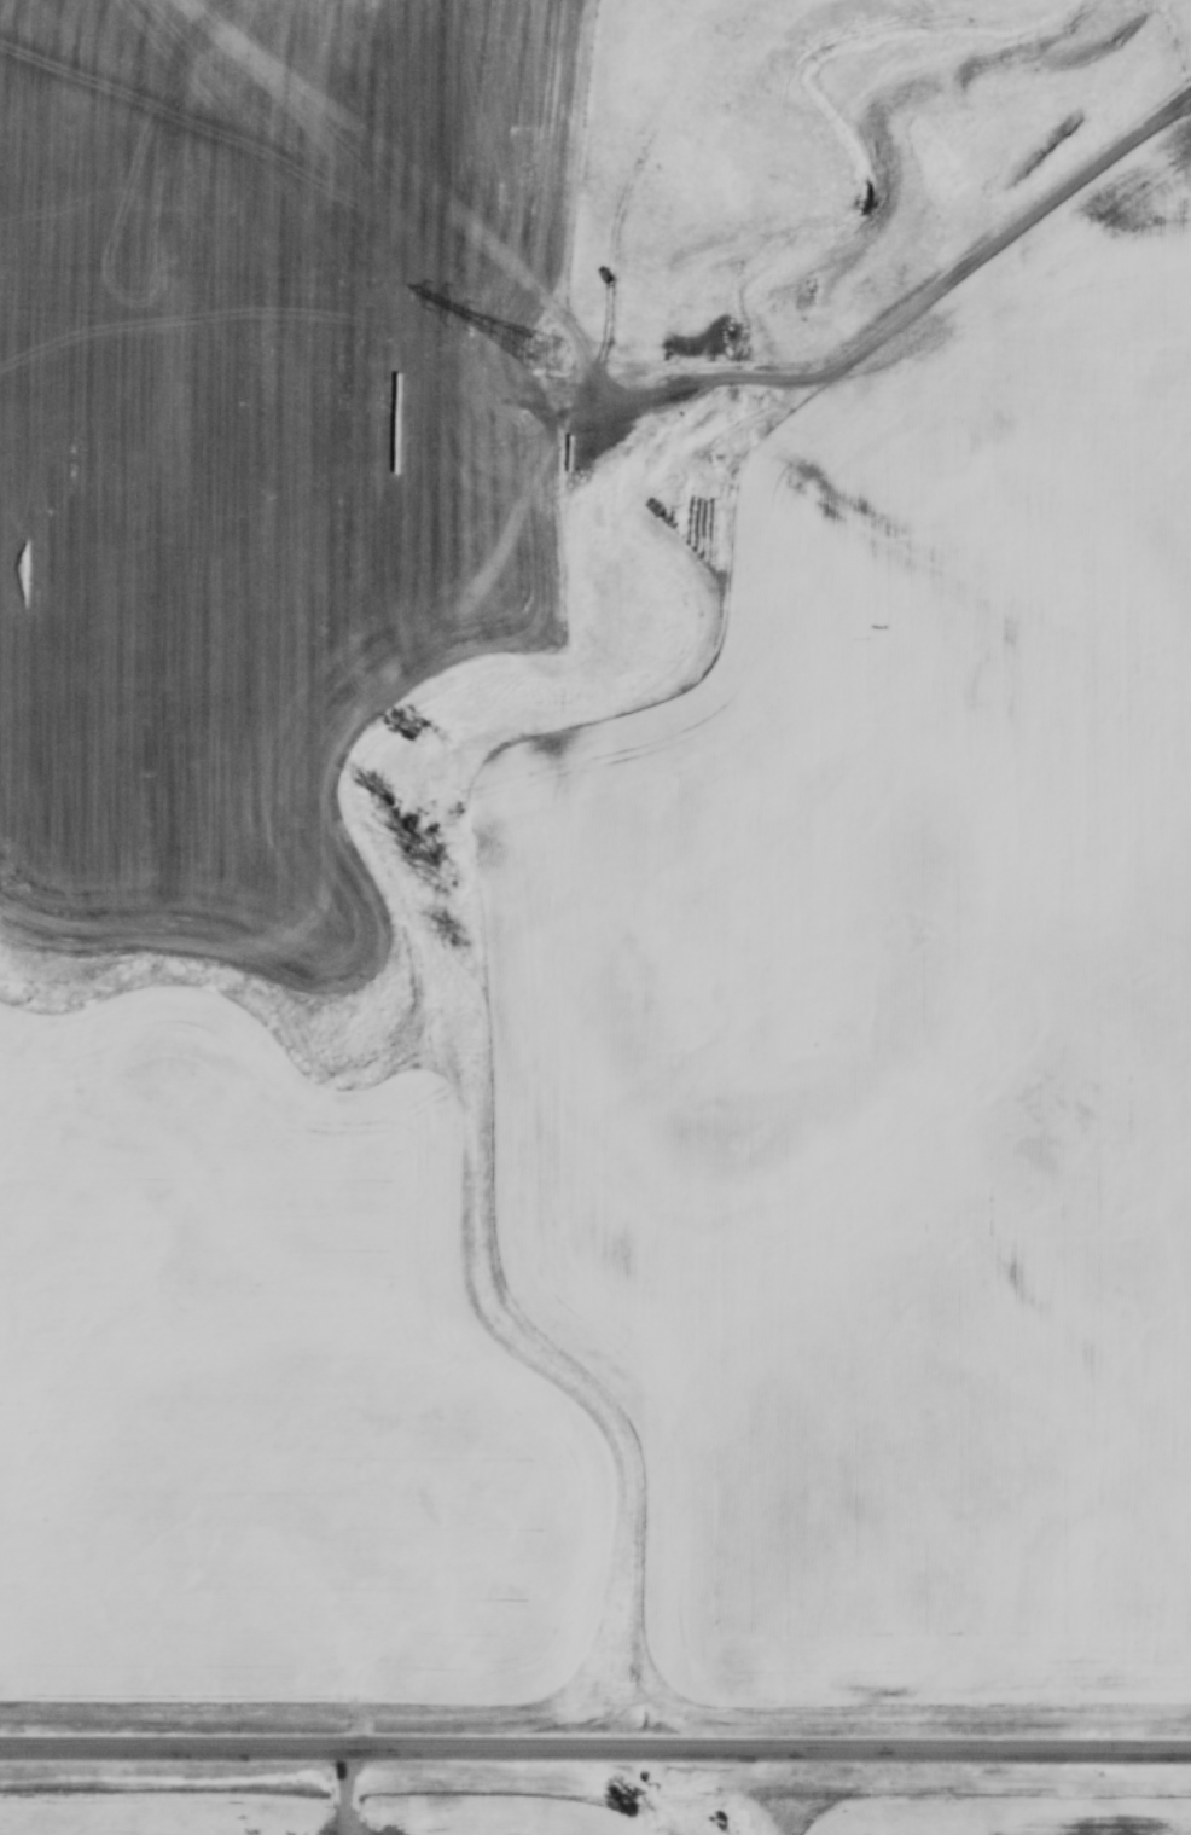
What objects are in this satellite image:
power tower: (545, 360)
road: (594, 1746)
road: (345, 1790)

